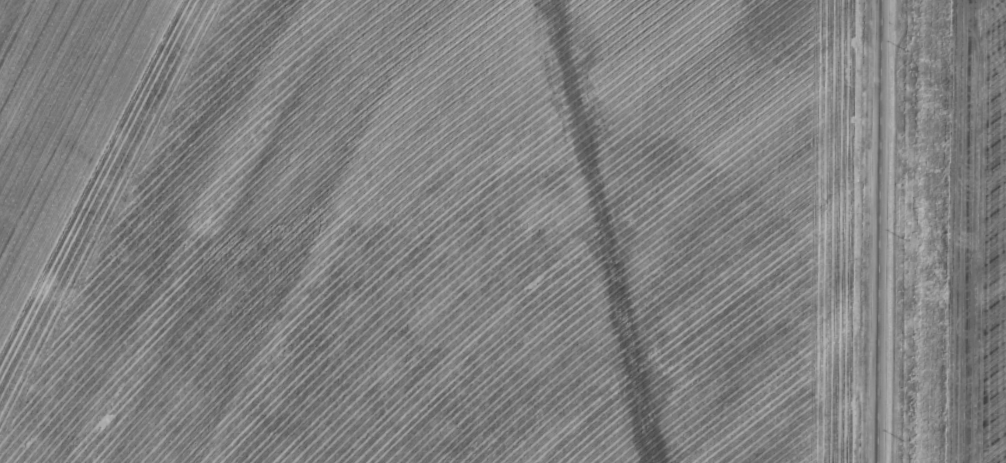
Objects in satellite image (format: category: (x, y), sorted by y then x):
road: (886, 231)

